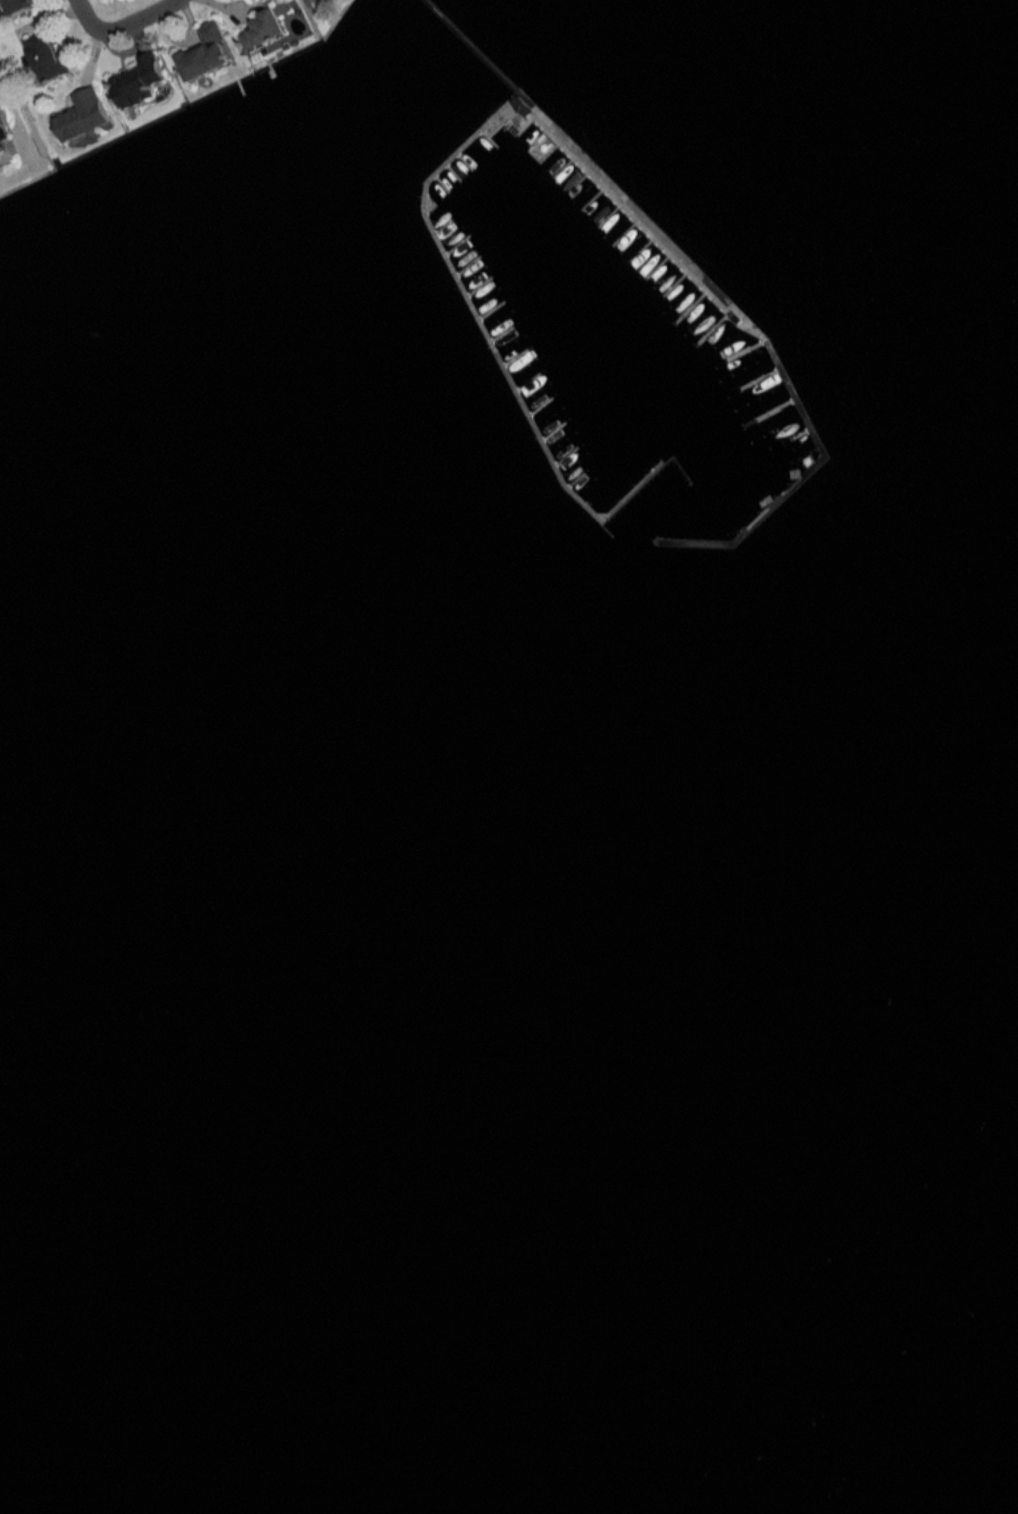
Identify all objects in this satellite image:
building: (18, 6)
road: (121, 25)
building: (270, 25)
pier: (471, 45)
building: (207, 52)
building: (49, 55)
building: (143, 77)

